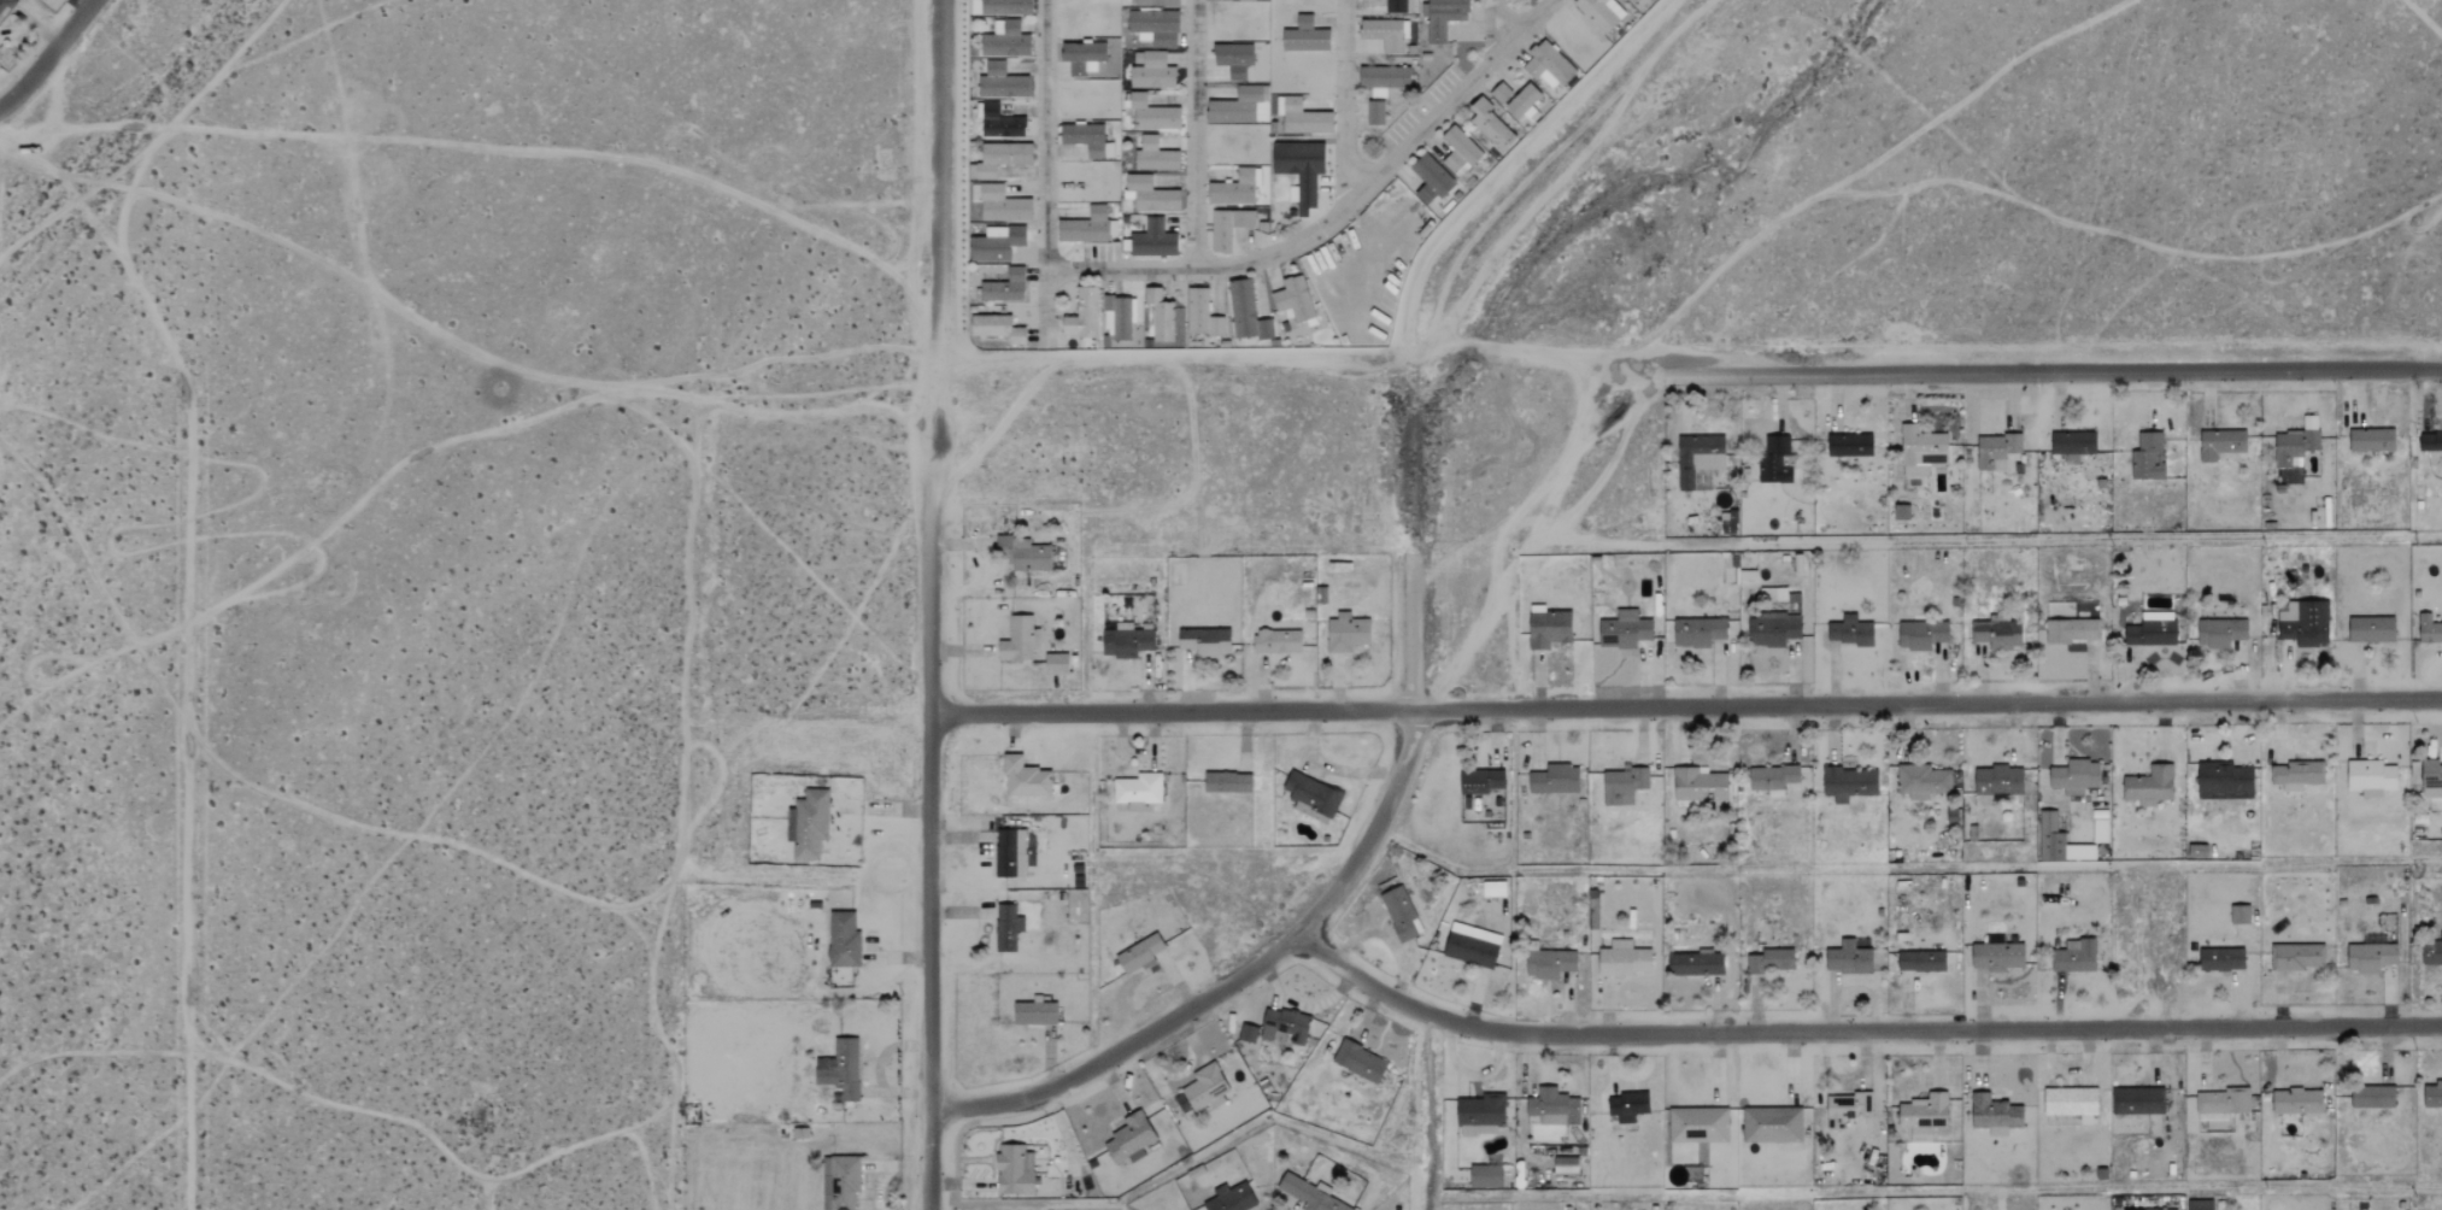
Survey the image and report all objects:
building: (1245, 0)
building: (1632, 1)
building: (1156, 2)
building: (5, 6)
building: (1398, 6)
building: (1005, 7)
building: (1599, 13)
building: (1444, 18)
building: (1155, 28)
road: (1495, 28)
building: (1385, 34)
building: (1005, 40)
road: (49, 57)
building: (1080, 57)
building: (1234, 59)
building: (1548, 65)
building: (1151, 71)
building: (1383, 80)
building: (1002, 82)
building: (1501, 93)
building: (1524, 104)
building: (1240, 106)
building: (1375, 113)
building: (1152, 114)
building: (1302, 117)
building: (999, 123)
building: (1490, 124)
building: (1087, 140)
road: (491, 145)
building: (1458, 152)
building: (1155, 155)
building: (998, 159)
road: (1507, 160)
road: (1378, 170)
building: (1301, 172)
building: (1431, 180)
building: (1233, 189)
building: (1150, 195)
building: (1002, 205)
building: (1087, 228)
building: (1227, 228)
building: (1154, 241)
building: (996, 243)
road: (1279, 249)
road: (1122, 271)
building: (1004, 287)
building: (1293, 299)
building: (1245, 312)
building: (1082, 315)
building: (1201, 315)
building: (1160, 317)
building: (1119, 318)
building: (1015, 336)
road: (1304, 353)
road: (2055, 368)
building: (2371, 440)
building: (2296, 441)
building: (2429, 441)
building: (2072, 444)
building: (2220, 444)
building: (1849, 445)
building: (1995, 451)
building: (1923, 452)
building: (2147, 458)
building: (1775, 459)
building: (1697, 460)
building: (1900, 512)
building: (1022, 553)
building: (1778, 595)
road: (934, 604)
building: (2303, 623)
building: (1548, 628)
building: (2152, 629)
building: (2371, 629)
building: (2429, 629)
building: (1622, 630)
building: (1772, 630)
building: (1697, 632)
building: (1849, 632)
building: (2071, 632)
building: (2219, 632)
building: (1345, 633)
building: (1996, 634)
building: (1921, 635)
building: (1017, 640)
building: (1125, 641)
building: (1204, 641)
building: (1276, 642)
building: (1055, 664)
road: (1686, 707)
building: (2297, 775)
building: (2074, 776)
building: (2370, 777)
building: (1023, 779)
building: (1772, 779)
building: (2431, 779)
building: (1554, 780)
building: (1480, 781)
building: (1921, 781)
building: (1997, 781)
building: (2224, 781)
building: (1226, 782)
building: (1849, 783)
building: (1622, 786)
building: (1698, 786)
building: (2149, 786)
building: (1137, 791)
building: (1311, 797)
building: (810, 824)
building: (2100, 827)
building: (1063, 830)
building: (2059, 842)
building: (2196, 852)
building: (1009, 853)
building: (1219, 888)
building: (1493, 889)
building: (1399, 915)
building: (2240, 915)
building: (1006, 927)
road: (1296, 936)
building: (841, 940)
building: (1472, 945)
building: (1138, 953)
building: (2431, 953)
building: (1848, 957)
building: (1996, 957)
building: (2074, 957)
building: (2297, 957)
building: (2370, 957)
building: (1622, 959)
building: (2221, 959)
building: (1769, 962)
building: (1921, 962)
building: (1548, 964)
building: (1695, 964)
building: (1035, 1010)
building: (1284, 1024)
road: (1857, 1028)
building: (1246, 1032)
building: (1358, 1061)
building: (839, 1068)
building: (1201, 1089)
building: (2432, 1093)
building: (2372, 1097)
building: (2220, 1098)
building: (2070, 1100)
building: (2136, 1100)
building: (2296, 1102)
building: (1627, 1105)
building: (1552, 1106)
building: (1845, 1108)
building: (1994, 1114)
building: (1479, 1115)
building: (1923, 1115)
building: (1697, 1124)
building: (1771, 1124)
building: (1129, 1138)
building: (1565, 1165)
building: (1012, 1169)
building: (1485, 1176)
building: (840, 1181)
building: (1309, 1193)
building: (1231, 1198)
building: (2200, 1204)
building: (2132, 1209)

